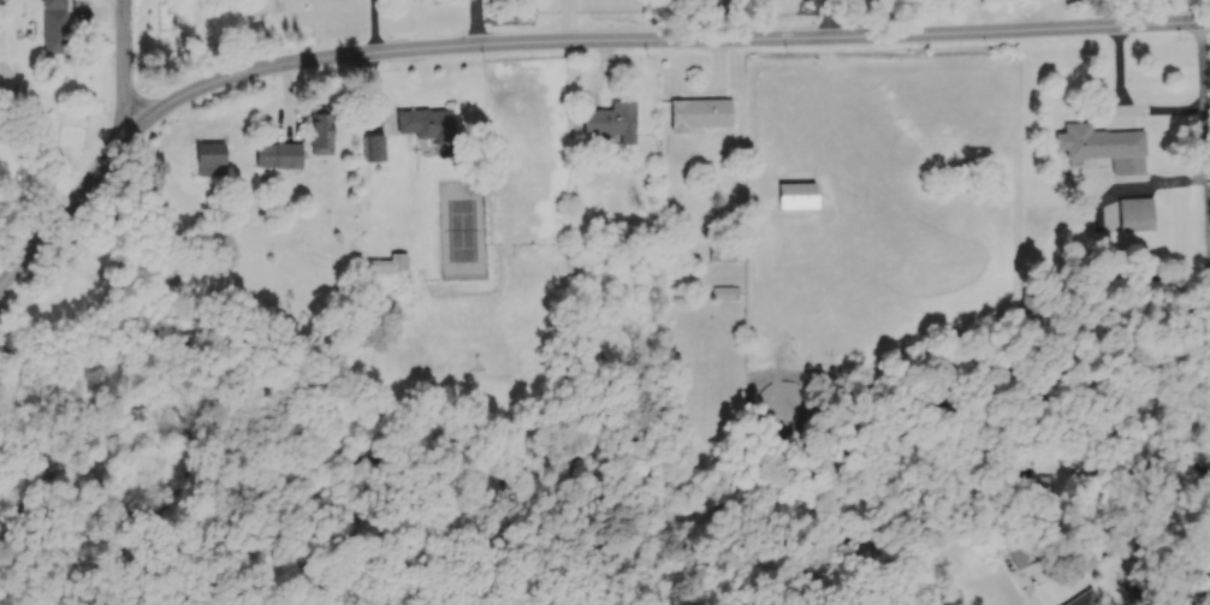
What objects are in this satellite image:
road: (1049, 10)
road: (826, 17)
building: (57, 34)
road: (559, 43)
road: (123, 73)
building: (702, 117)
building: (615, 123)
building: (427, 125)
road: (1204, 127)
building: (322, 135)
building: (1101, 143)
building: (373, 150)
building: (280, 156)
building: (212, 161)
building: (797, 197)
building: (1138, 221)
building: (726, 253)
building: (390, 267)
building: (724, 296)
building: (1034, 298)
road: (1206, 437)
building: (1049, 487)
road: (1125, 544)
building: (1018, 556)
building: (1090, 599)

